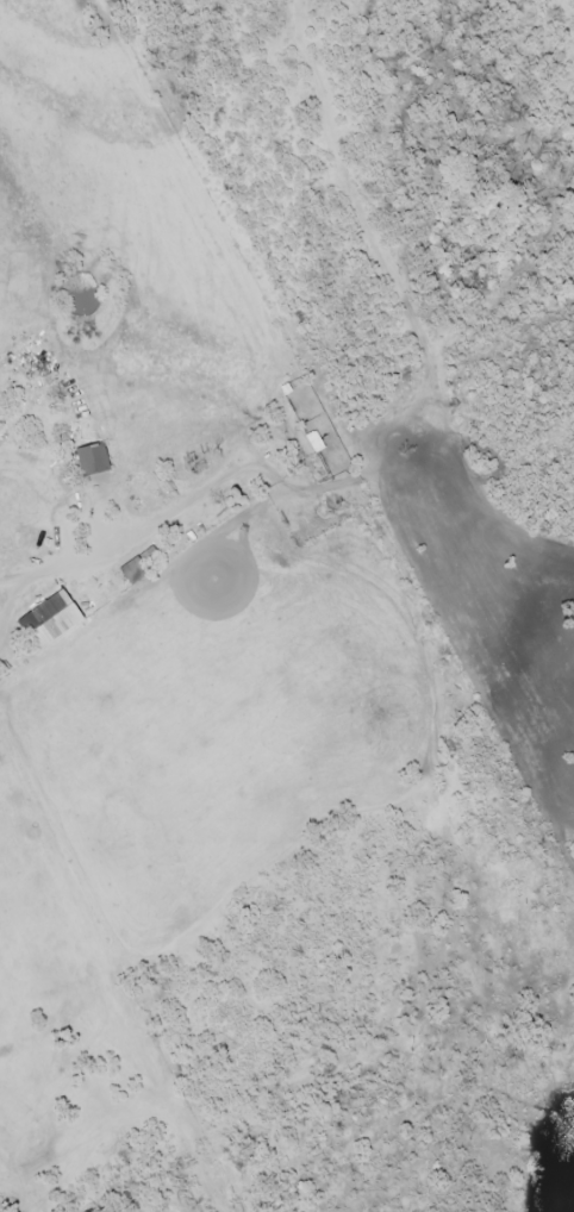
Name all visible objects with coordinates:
building: (92, 461)
road: (127, 550)

